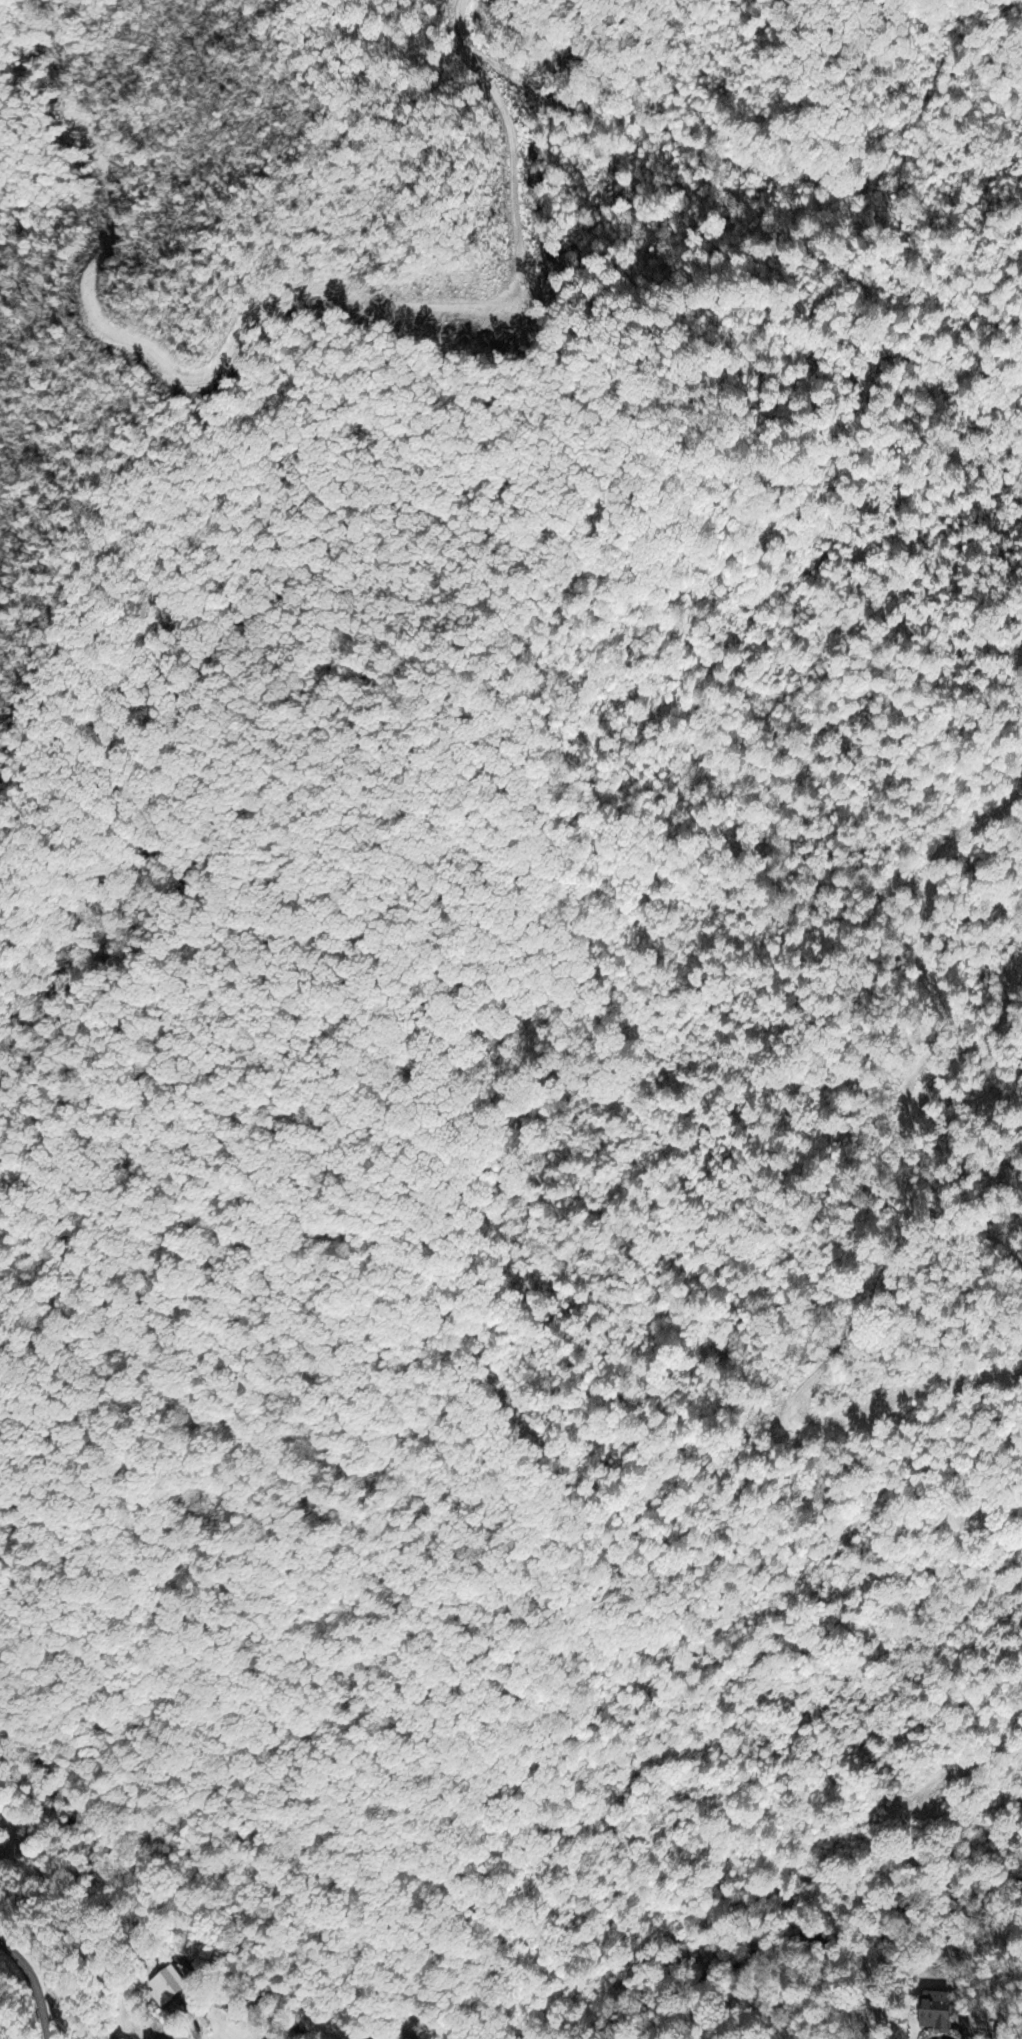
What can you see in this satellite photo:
road: (30, 1968)
building: (166, 1986)
building: (937, 2009)
road: (146, 2015)
road: (8, 2022)

